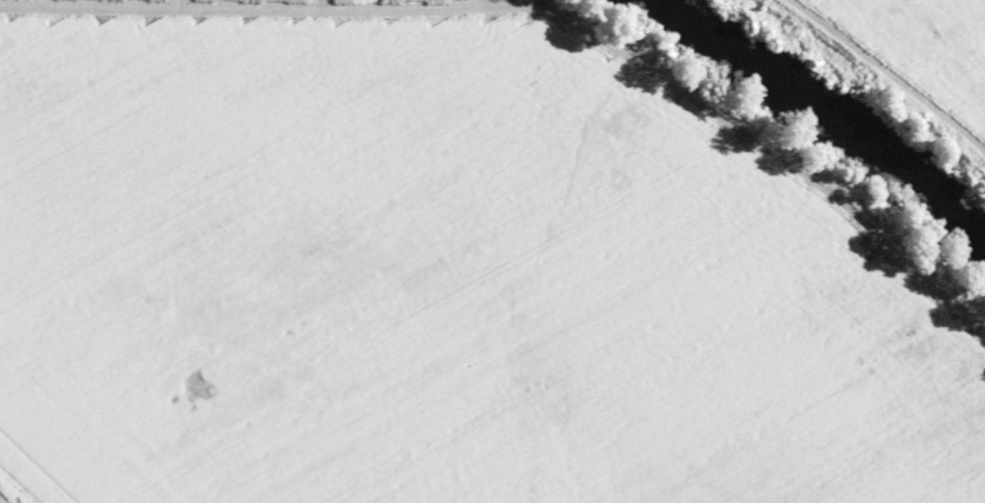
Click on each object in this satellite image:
road: (887, 73)
river: (815, 125)
road: (769, 159)

